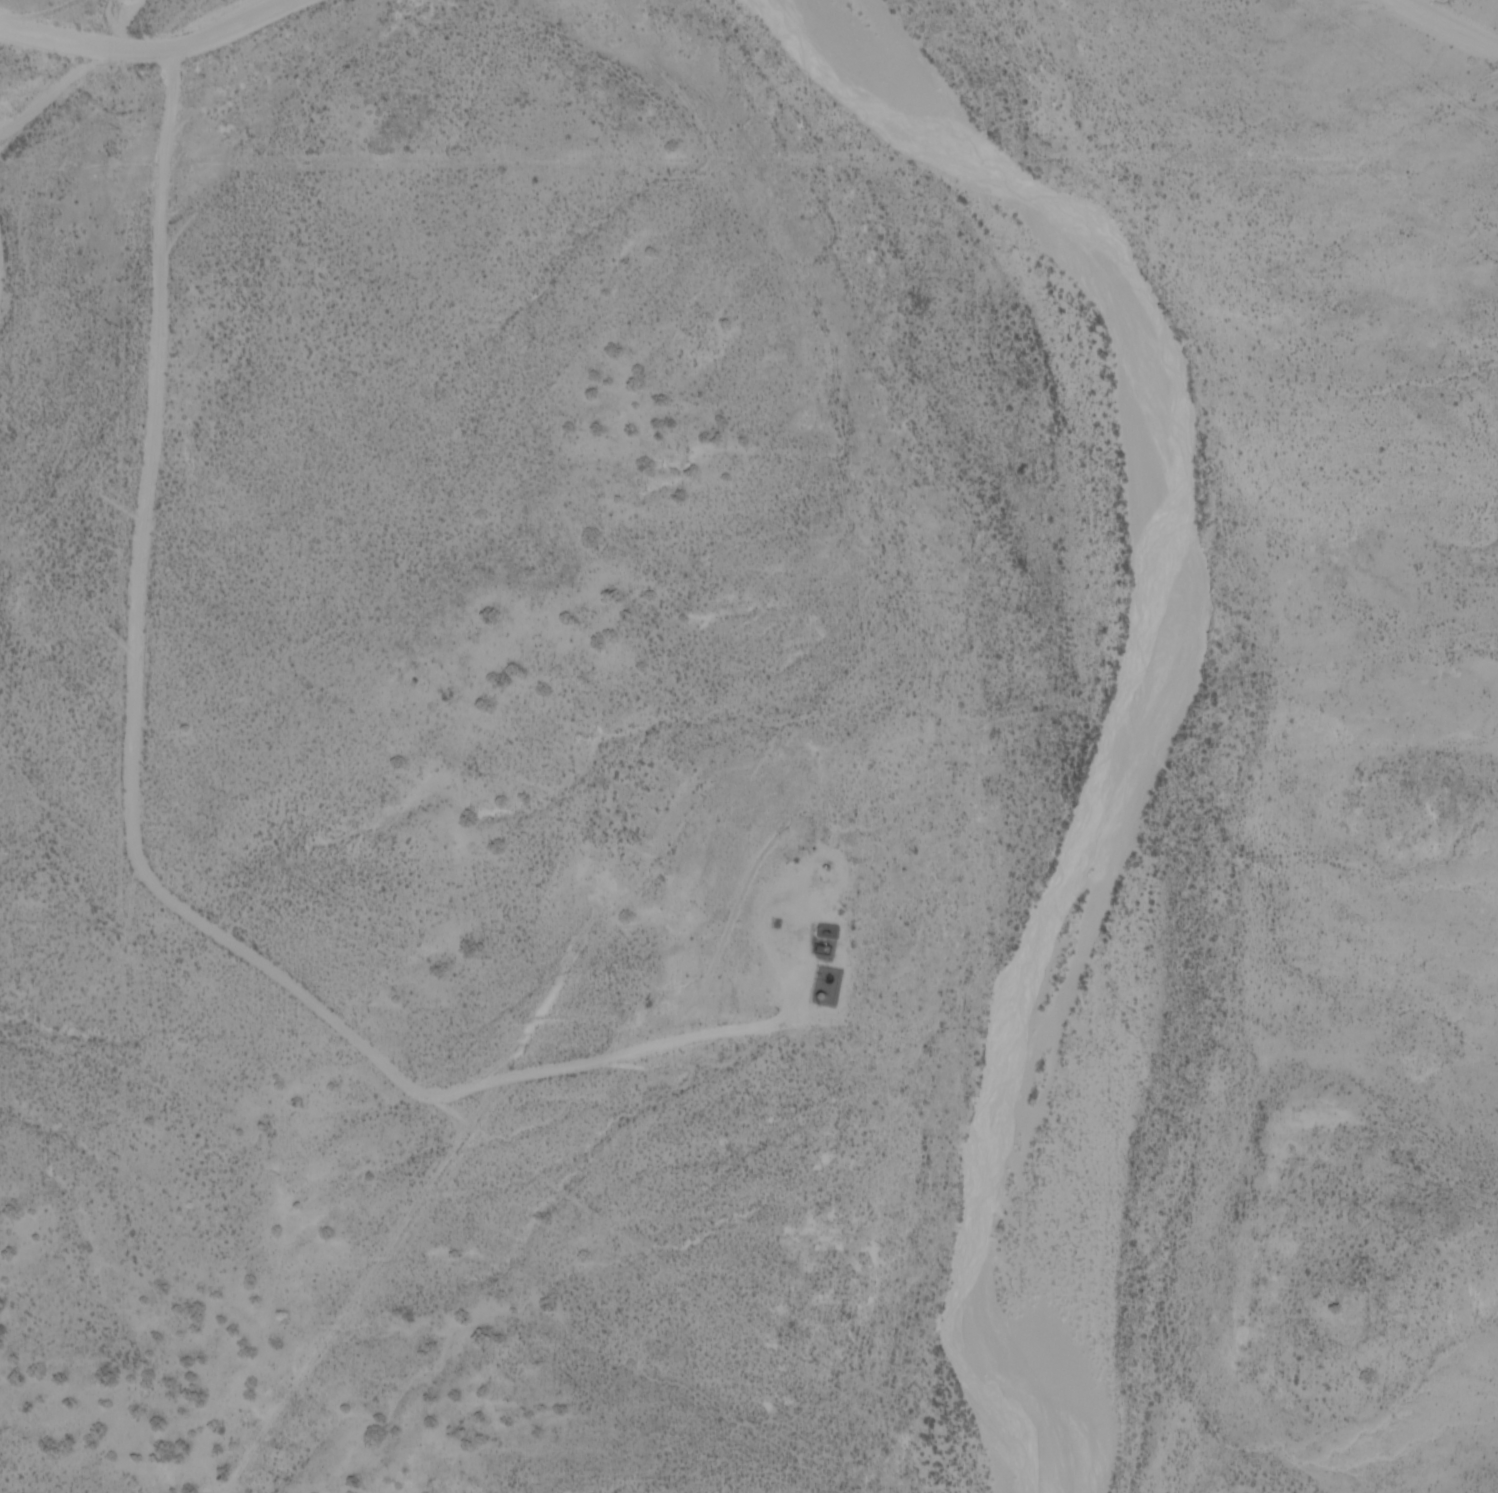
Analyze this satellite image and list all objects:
road: (1449, 26)
road: (155, 52)
river: (1153, 694)

